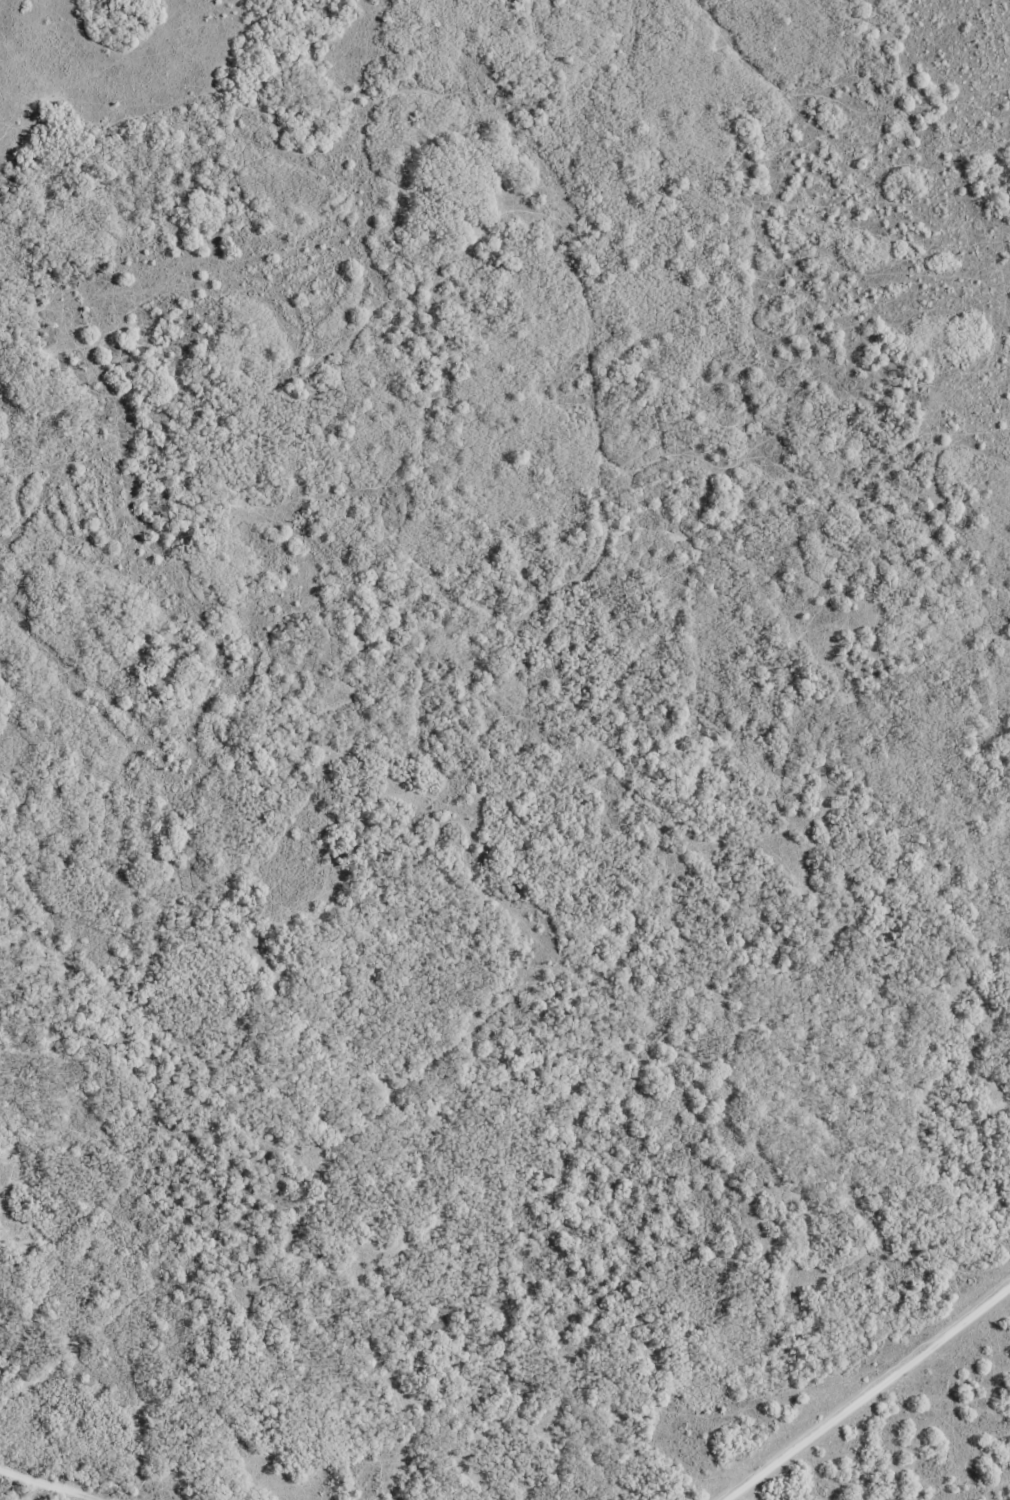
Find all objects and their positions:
road: (873, 1396)
road: (15, 1451)

